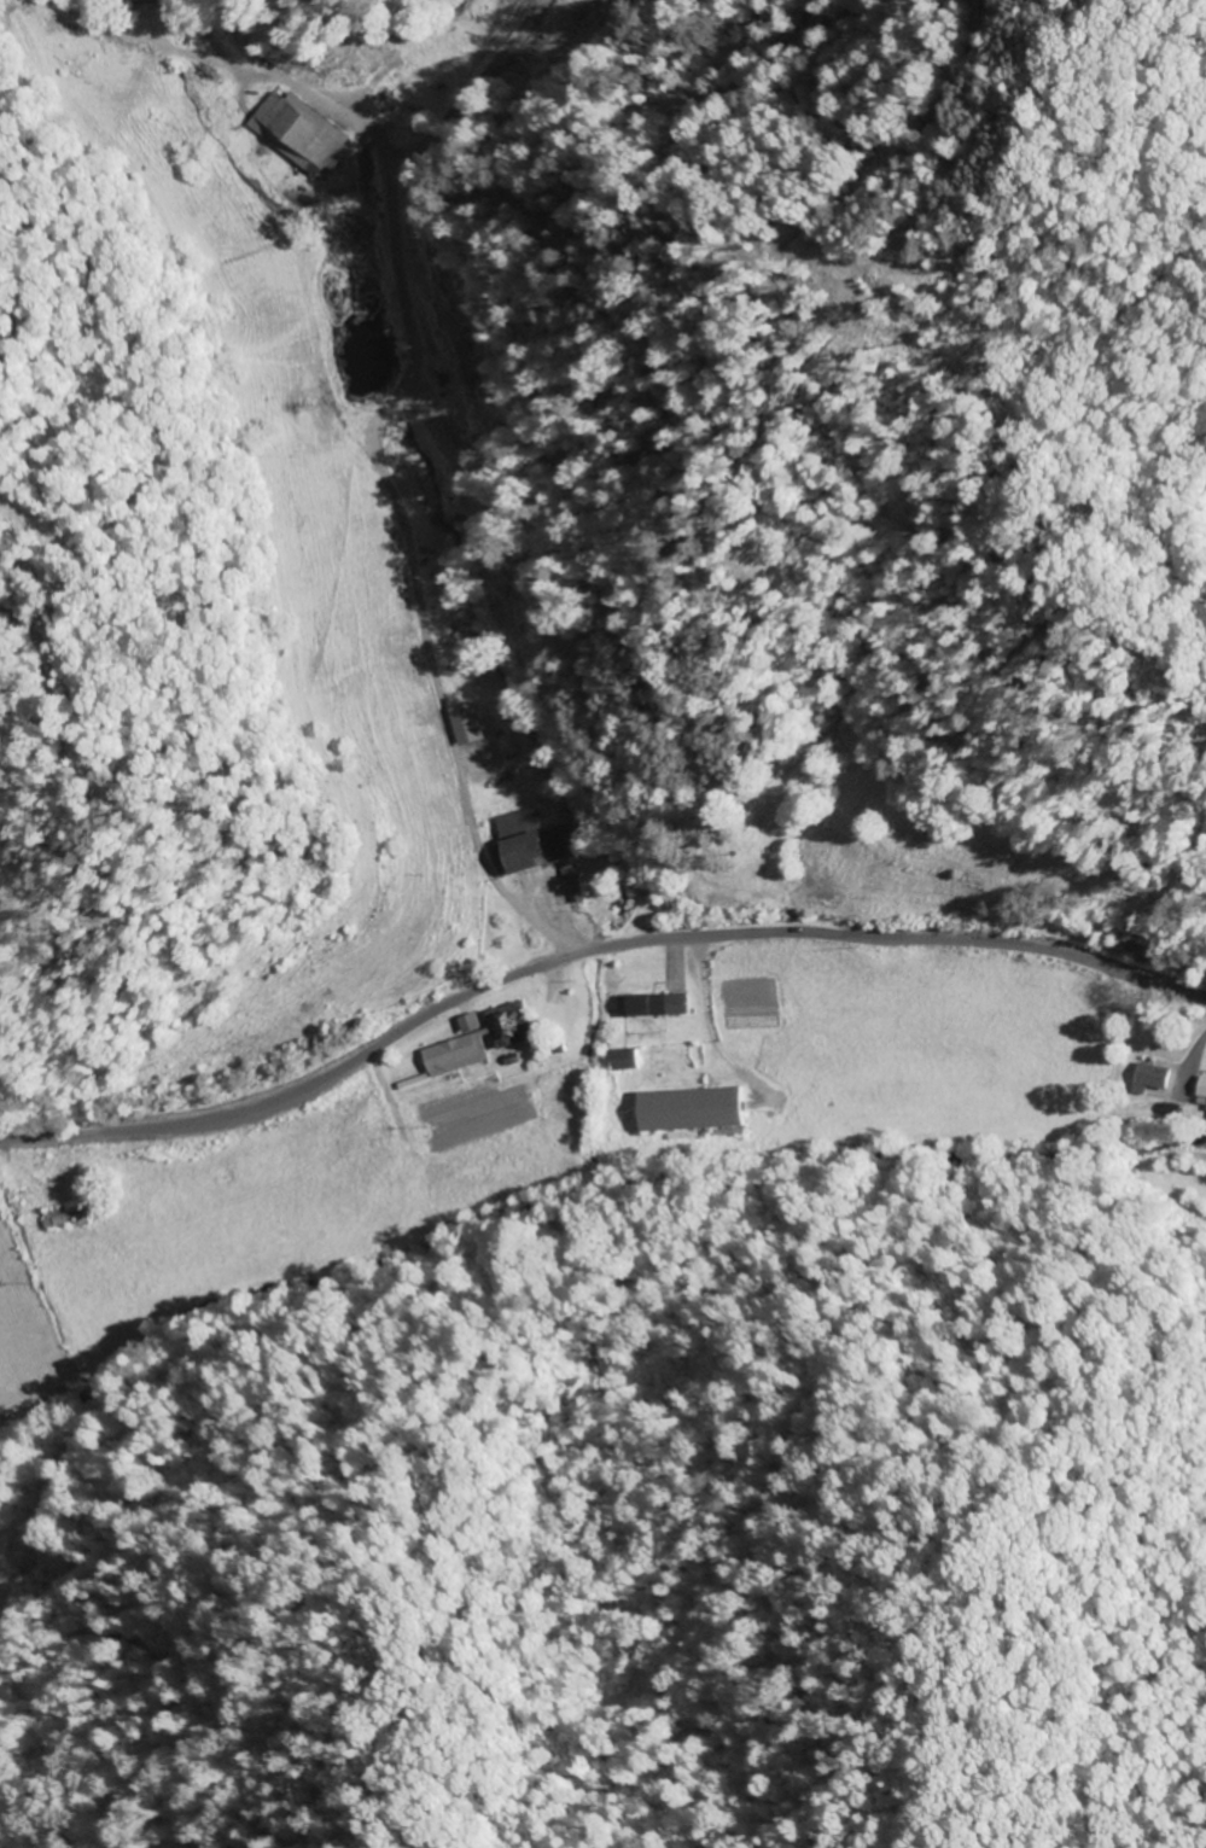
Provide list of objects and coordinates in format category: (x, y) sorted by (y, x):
road: (150, 0)
building: (302, 132)
road: (372, 427)
building: (472, 725)
building: (530, 845)
road: (588, 952)
building: (662, 1005)
building: (514, 1026)
building: (454, 1054)
building: (628, 1060)
building: (1154, 1073)
building: (1202, 1091)
building: (694, 1109)
building: (70, 1219)

